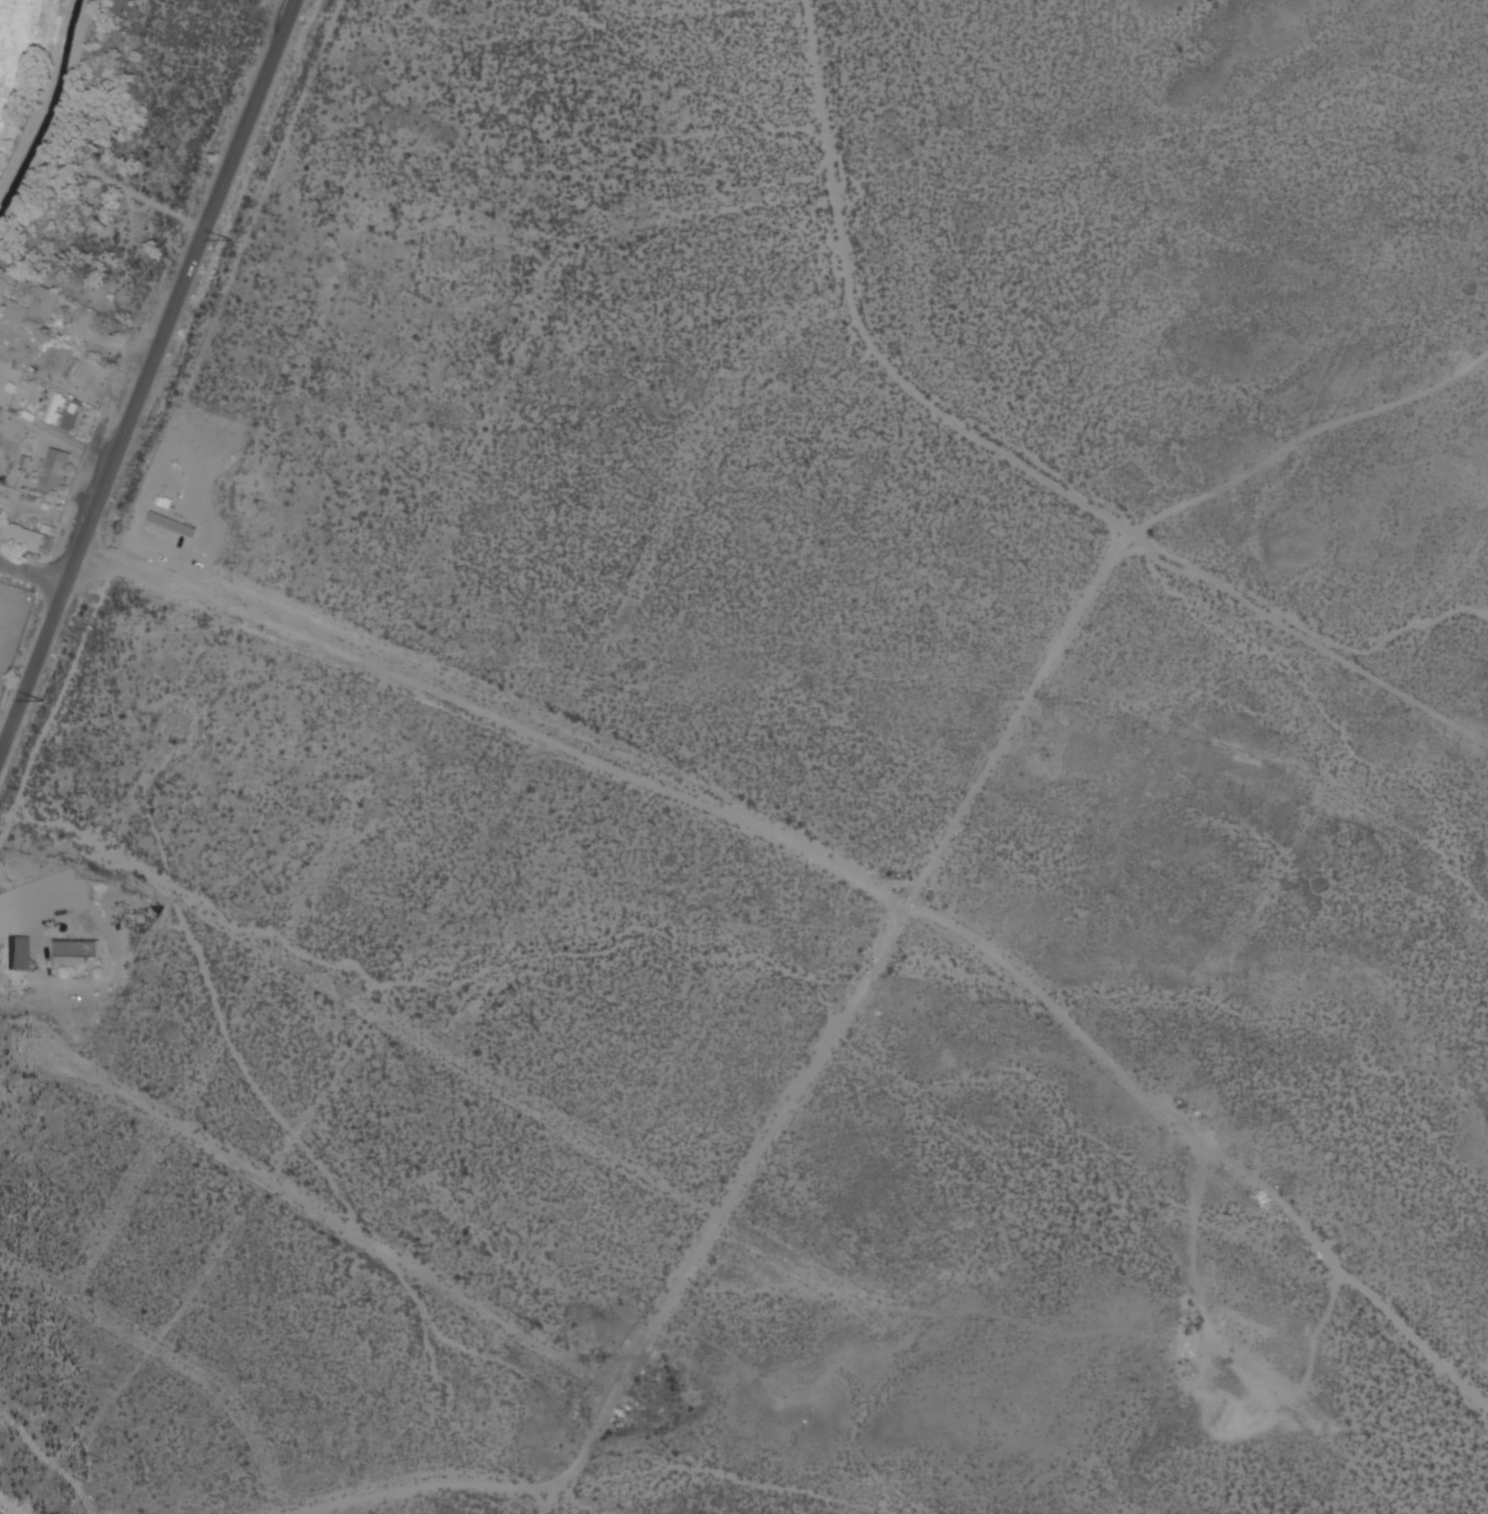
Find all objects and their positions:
building: (43, 303)
building: (72, 370)
road: (147, 380)
building: (55, 410)
building: (54, 473)
building: (164, 527)
building: (23, 538)
road: (34, 573)
road: (497, 717)
building: (76, 949)
building: (20, 952)
road: (766, 1142)
road: (325, 1212)
road: (425, 1217)
road: (8, 1508)

